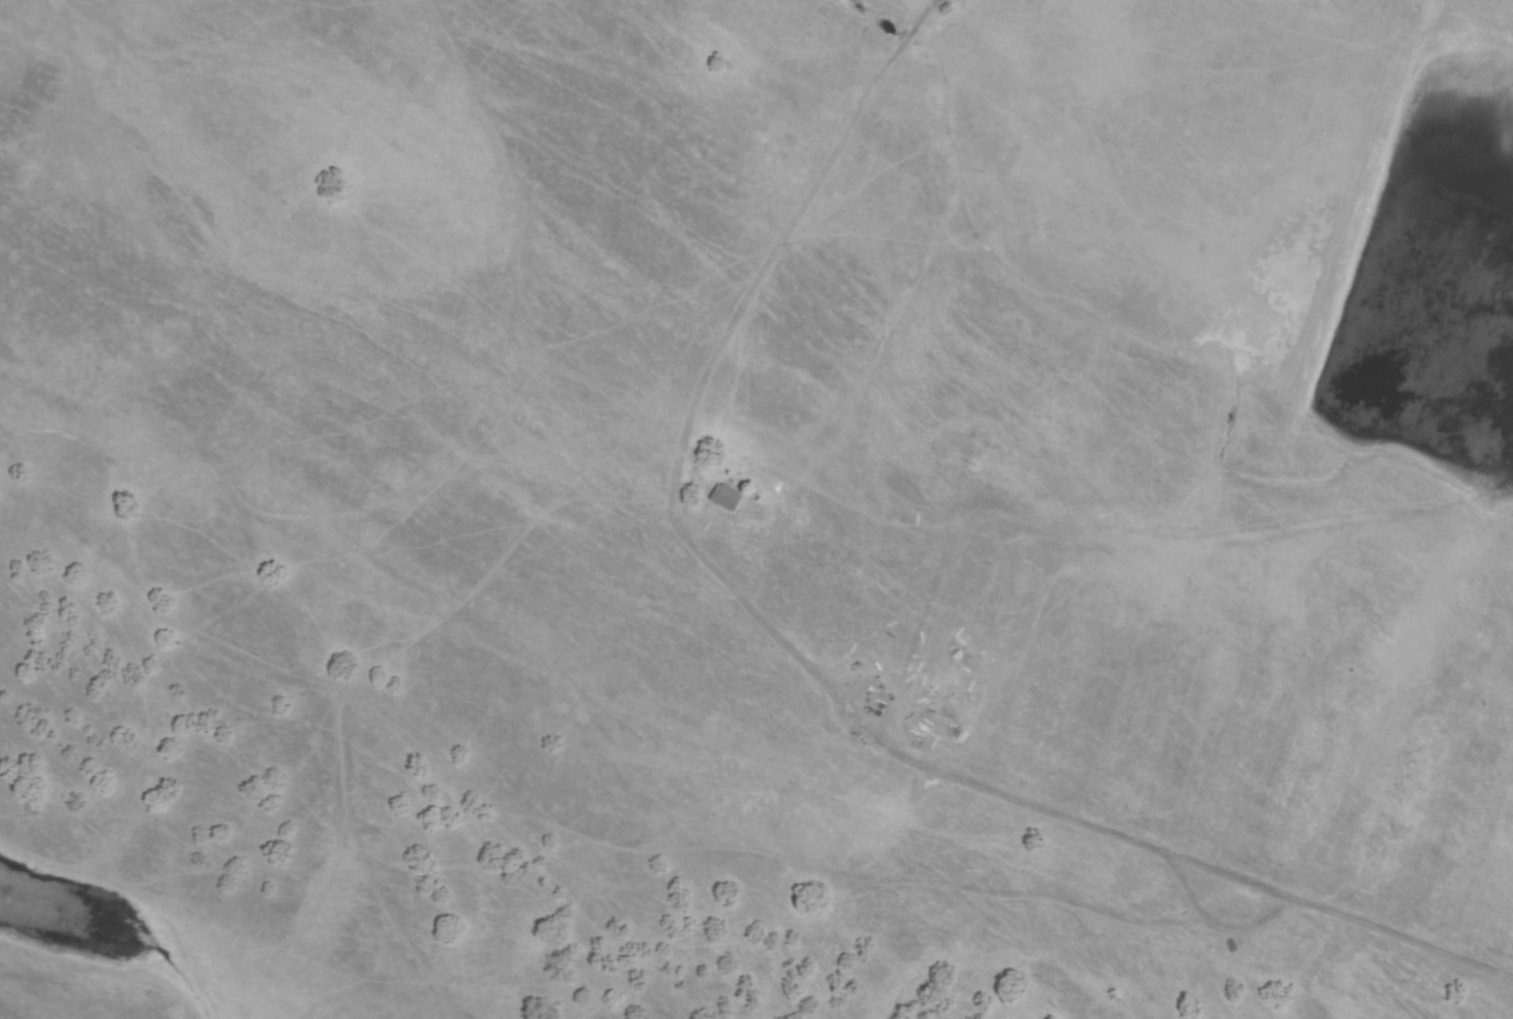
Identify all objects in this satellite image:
building: (947, 9)
building: (727, 498)
road: (802, 664)
building: (954, 712)
building: (918, 806)
road: (606, 844)
road: (376, 868)

